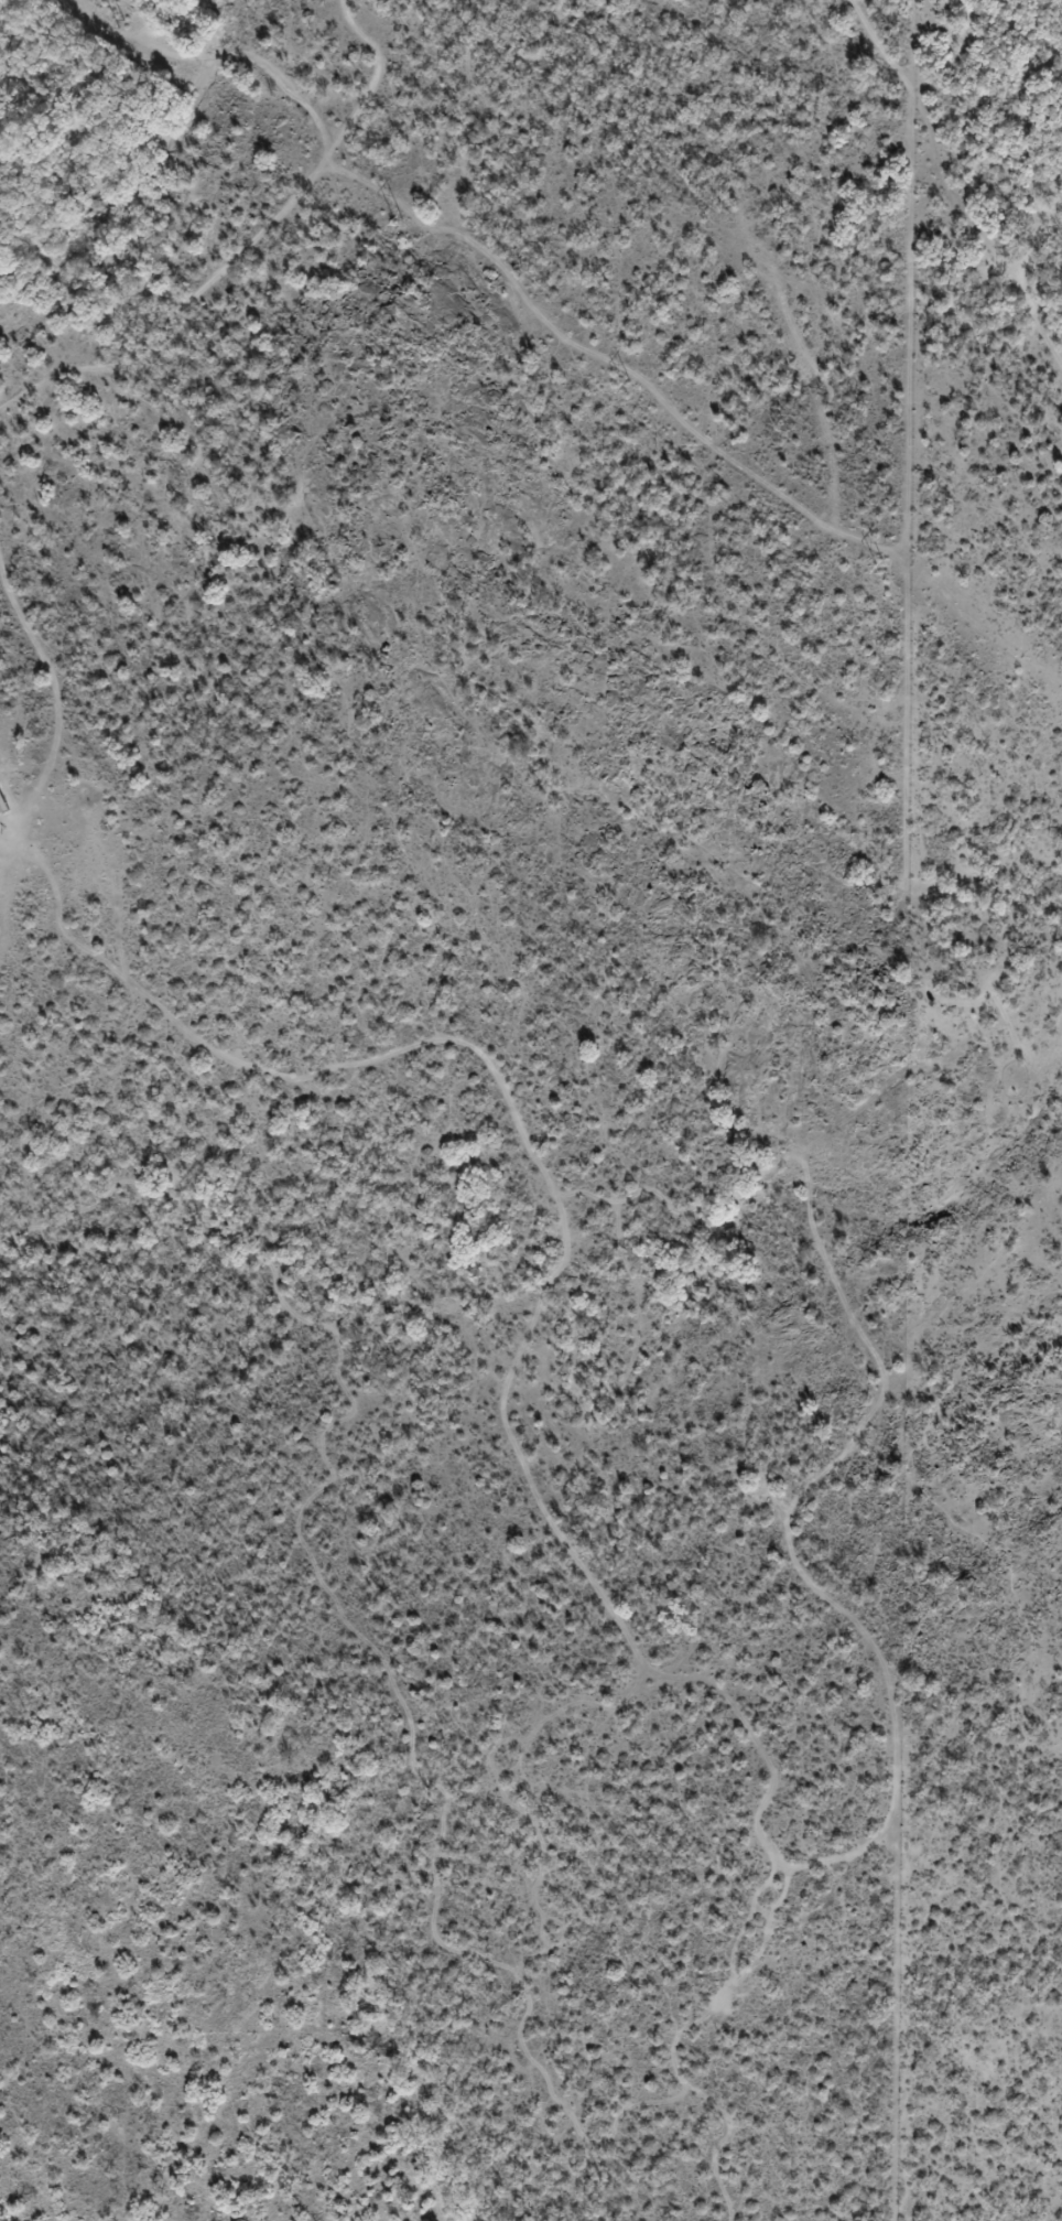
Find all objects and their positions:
power tower: (119, 25)
road: (923, 157)
power tower: (395, 223)
power tower: (626, 382)
power tower: (878, 565)

